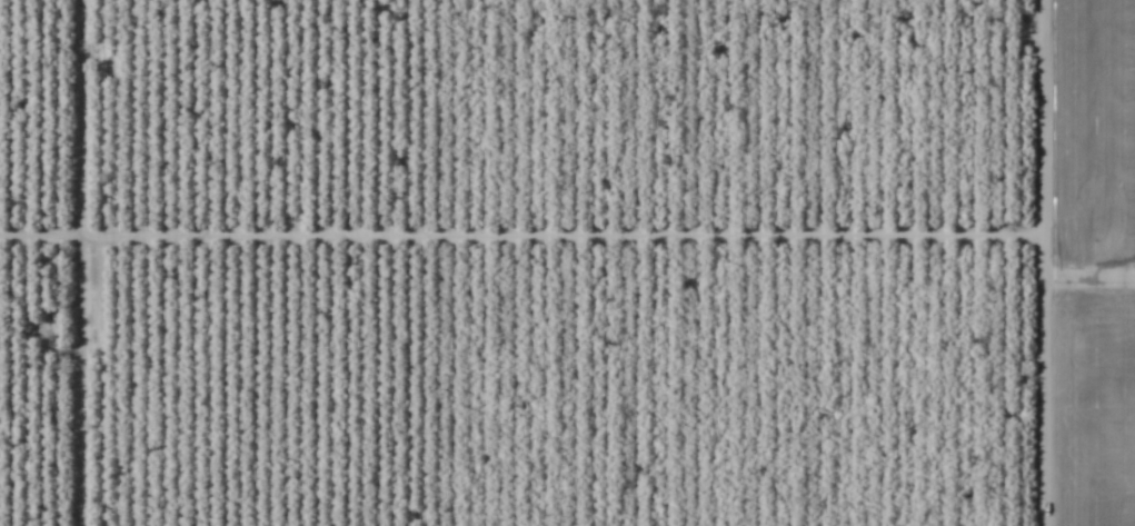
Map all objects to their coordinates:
road: (1032, 262)

